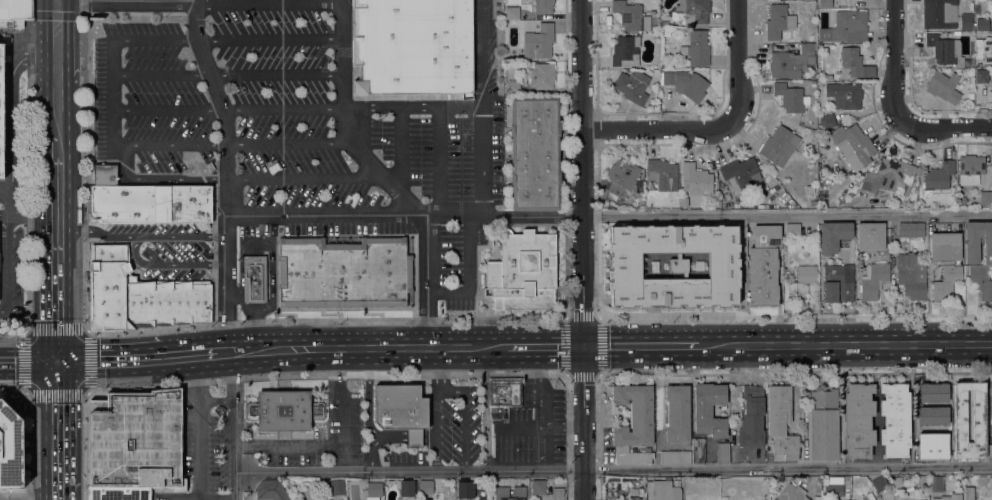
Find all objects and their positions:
road: (56, 0)
road: (132, 0)
building: (825, 4)
building: (540, 5)
building: (27, 10)
building: (691, 11)
building: (11, 13)
building: (511, 13)
building: (938, 13)
road: (56, 15)
building: (630, 17)
building: (778, 21)
building: (966, 21)
building: (657, 22)
building: (982, 24)
building: (846, 27)
building: (990, 31)
building: (666, 33)
building: (956, 33)
road: (268, 34)
road: (154, 40)
building: (539, 41)
building: (412, 46)
building: (696, 48)
building: (624, 49)
building: (945, 49)
building: (983, 50)
road: (739, 62)
building: (792, 62)
road: (896, 62)
building: (855, 63)
road: (43, 65)
road: (274, 73)
road: (159, 74)
building: (540, 75)
building: (981, 75)
building: (828, 77)
building: (685, 83)
building: (812, 83)
building: (632, 86)
building: (943, 86)
building: (991, 86)
building: (512, 87)
building: (991, 91)
road: (111, 94)
building: (844, 94)
building: (970, 95)
building: (791, 97)
road: (281, 106)
road: (410, 108)
building: (1, 110)
road: (166, 110)
building: (828, 121)
road: (341, 123)
road: (947, 128)
road: (657, 129)
road: (10, 139)
road: (288, 140)
road: (43, 143)
road: (169, 145)
building: (778, 145)
building: (853, 145)
road: (401, 149)
building: (534, 153)
road: (440, 161)
road: (27, 164)
road: (84, 165)
road: (481, 169)
building: (970, 169)
road: (225, 173)
building: (105, 174)
building: (662, 174)
building: (740, 174)
building: (939, 175)
building: (621, 176)
road: (159, 178)
road: (308, 178)
building: (889, 178)
building: (695, 180)
road: (71, 182)
road: (5, 187)
building: (723, 188)
building: (727, 196)
building: (985, 197)
building: (150, 203)
building: (605, 203)
road: (391, 213)
road: (4, 214)
road: (449, 214)
road: (786, 214)
road: (528, 215)
building: (911, 229)
building: (792, 230)
building: (626, 231)
building: (647, 231)
building: (699, 231)
building: (722, 231)
road: (148, 235)
building: (833, 236)
building: (870, 236)
building: (945, 246)
railway: (57, 250)
road: (581, 250)
building: (972, 250)
road: (42, 260)
road: (7, 262)
building: (763, 266)
building: (345, 271)
building: (523, 271)
building: (911, 275)
building: (657, 278)
building: (254, 279)
building: (873, 280)
building: (729, 281)
building: (801, 281)
building: (621, 282)
building: (946, 282)
building: (838, 283)
building: (694, 284)
building: (140, 295)
road: (795, 314)
road: (327, 319)
road: (25, 329)
road: (12, 333)
road: (968, 344)
road: (385, 345)
road: (822, 345)
road: (545, 346)
traffic signals: (582, 346)
road: (641, 346)
road: (245, 350)
road: (220, 353)
road: (141, 360)
road: (20, 364)
traffic signals: (42, 364)
road: (56, 364)
traffic signals: (70, 364)
road: (328, 373)
road: (796, 373)
road: (599, 374)
road: (539, 384)
road: (13, 389)
building: (503, 392)
road: (218, 401)
building: (932, 404)
road: (485, 408)
building: (709, 409)
building: (284, 410)
building: (401, 410)
building: (990, 411)
building: (677, 413)
building: (959, 416)
building: (751, 417)
building: (858, 420)
building: (894, 420)
building: (633, 423)
building: (781, 423)
road: (238, 425)
road: (540, 425)
building: (822, 425)
road: (197, 427)
road: (69, 431)
road: (42, 432)
road: (569, 437)
road: (600, 437)
building: (136, 440)
building: (926, 443)
road: (28, 445)
road: (84, 445)
building: (10, 448)
building: (698, 450)
building: (990, 450)
building: (722, 452)
building: (946, 453)
building: (674, 457)
road: (615, 468)
building: (936, 482)
building: (878, 484)
building: (337, 486)
building: (426, 487)
building: (833, 487)
building: (406, 488)
building: (374, 489)
building: (271, 490)
building: (465, 490)
building: (664, 490)
building: (538, 491)
building: (502, 492)
building: (119, 493)
building: (792, 493)
building: (969, 493)
building: (950, 497)
road: (21, 498)
building: (326, 499)
building: (425, 499)

